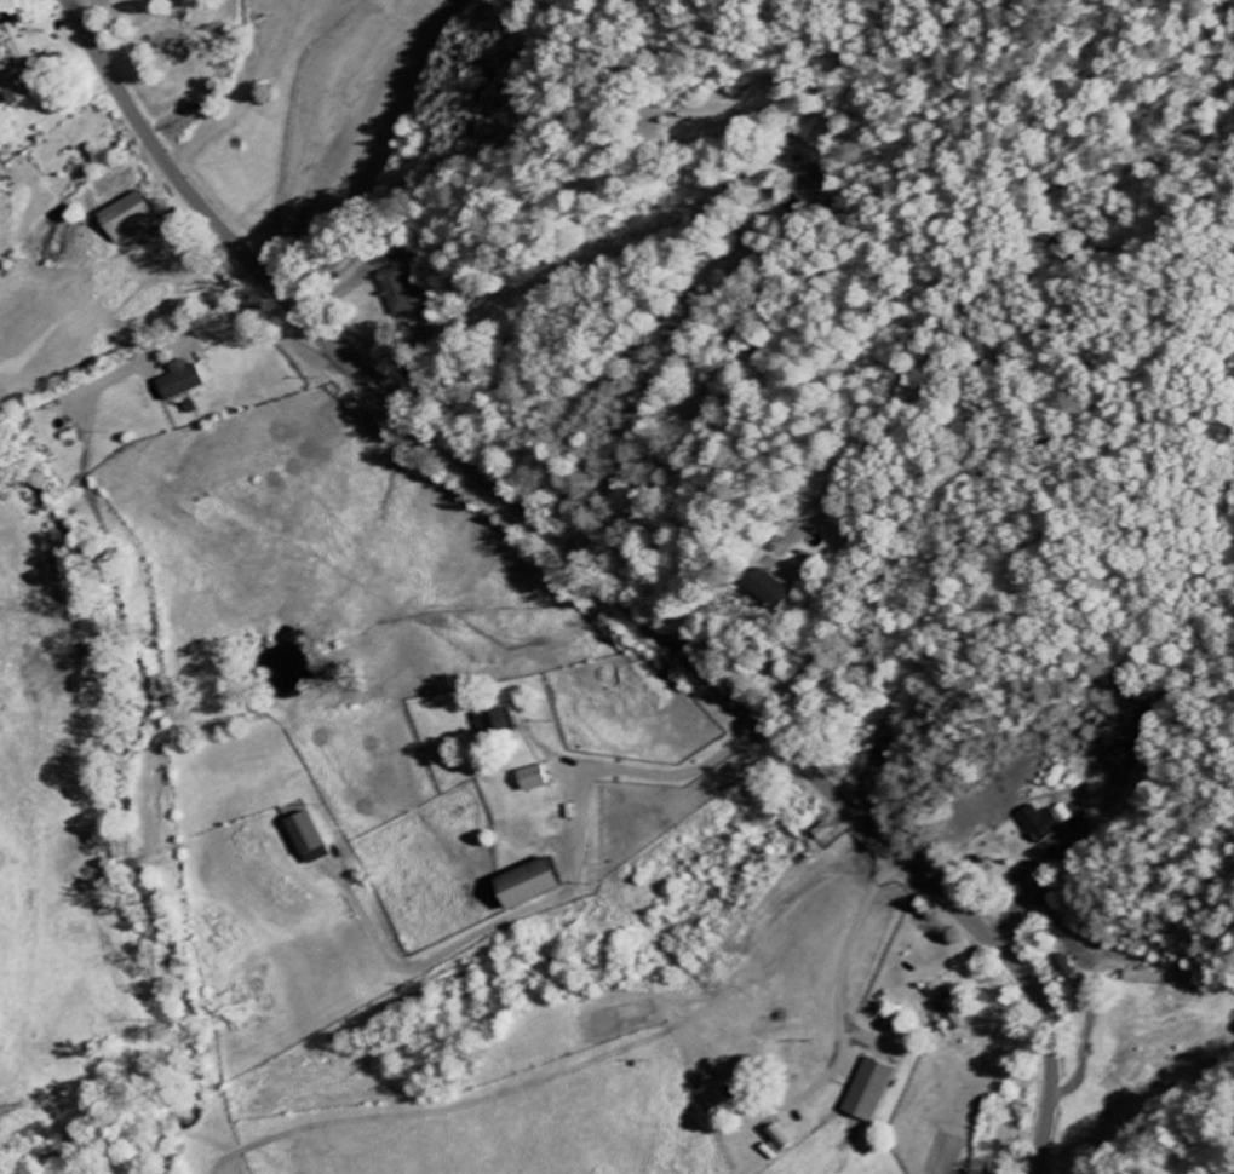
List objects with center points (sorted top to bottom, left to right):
building: (18, 81)
building: (821, 184)
building: (809, 194)
building: (137, 218)
road: (736, 230)
building: (401, 292)
building: (176, 381)
road: (596, 577)
building: (779, 591)
building: (497, 725)
road: (705, 766)
building: (532, 779)
building: (1045, 823)
building: (304, 840)
building: (523, 886)
building: (1152, 979)
building: (946, 1007)
building: (868, 1092)

